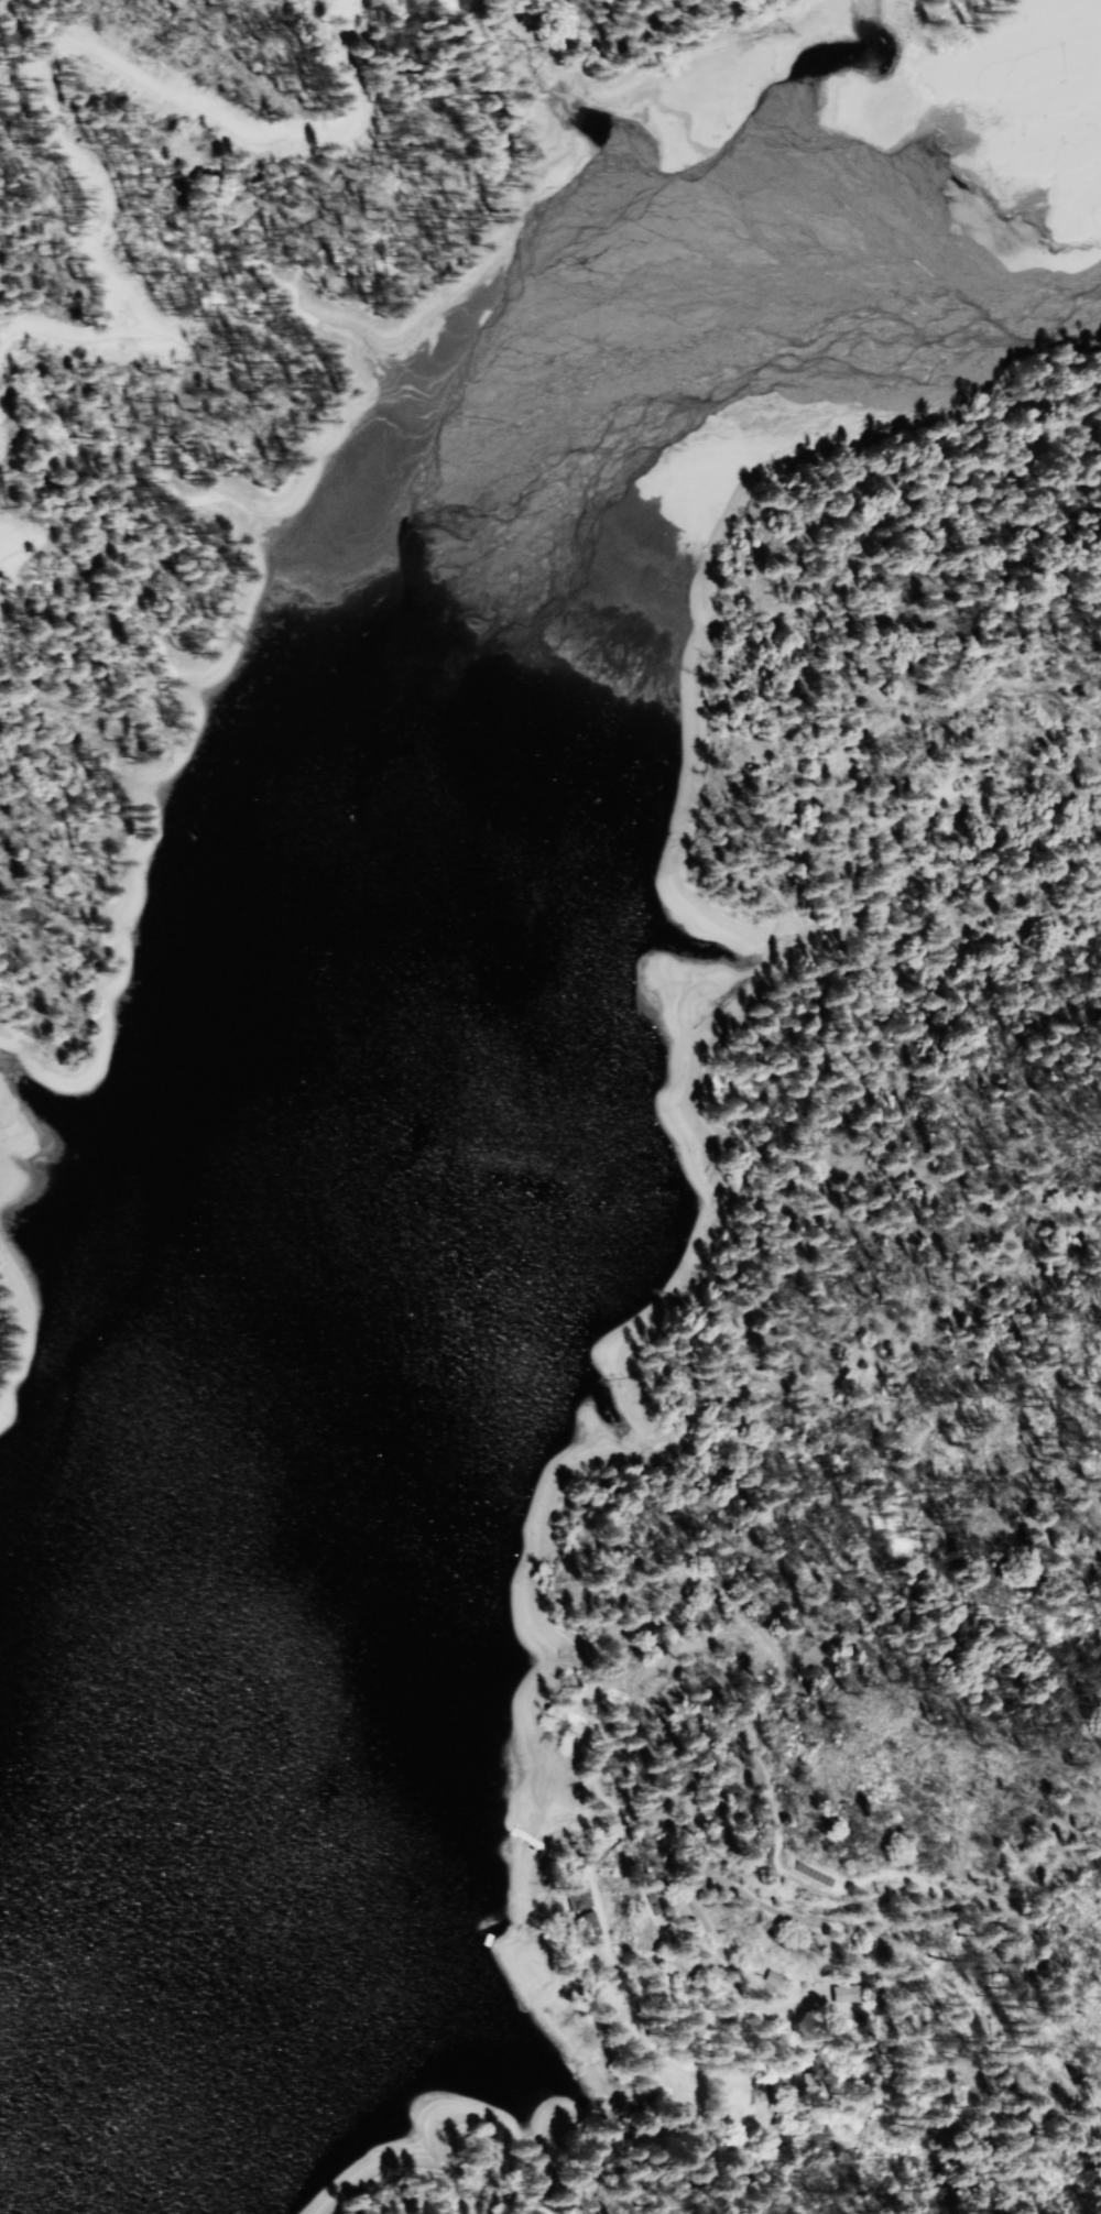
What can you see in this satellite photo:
building: (574, 1896)
road: (964, 1900)
building: (848, 1993)

